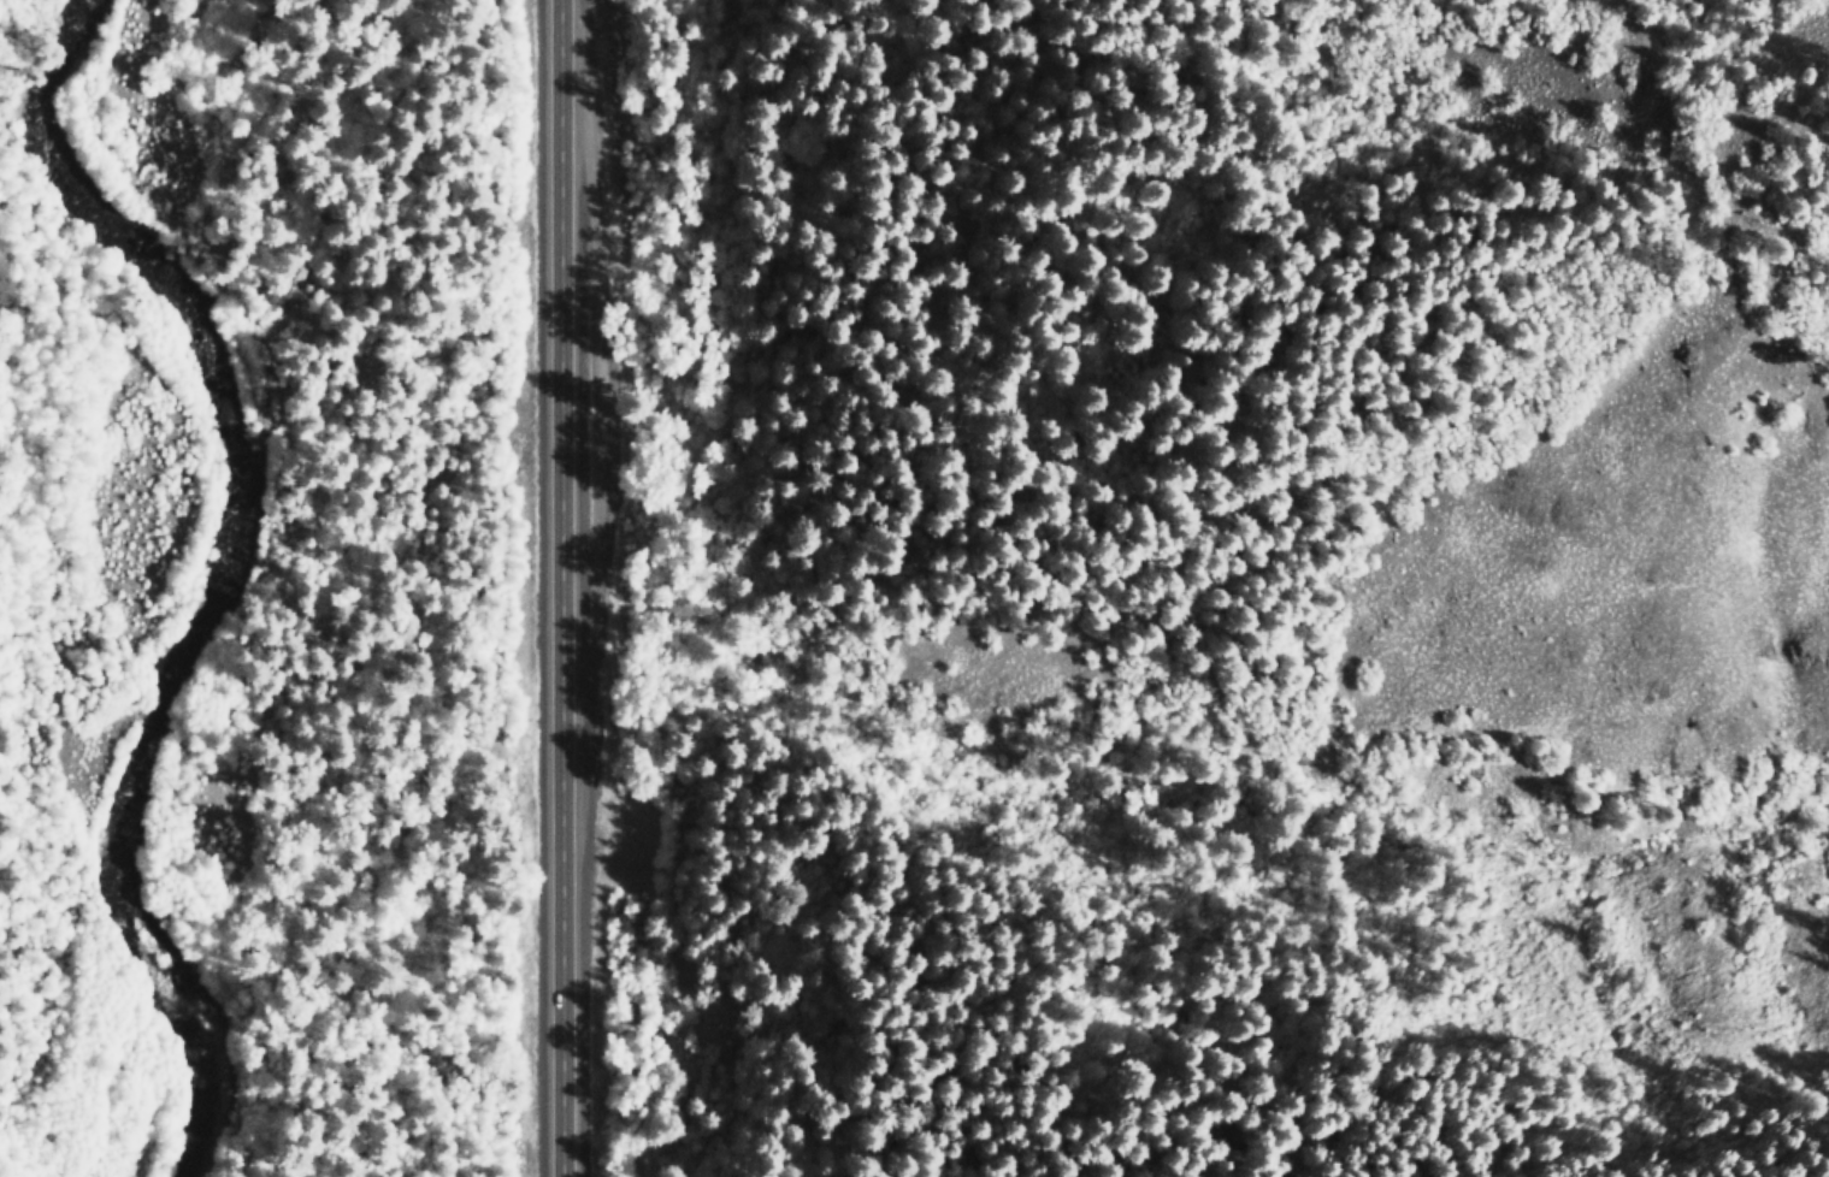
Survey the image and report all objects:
river: (206, 575)
road: (556, 588)

